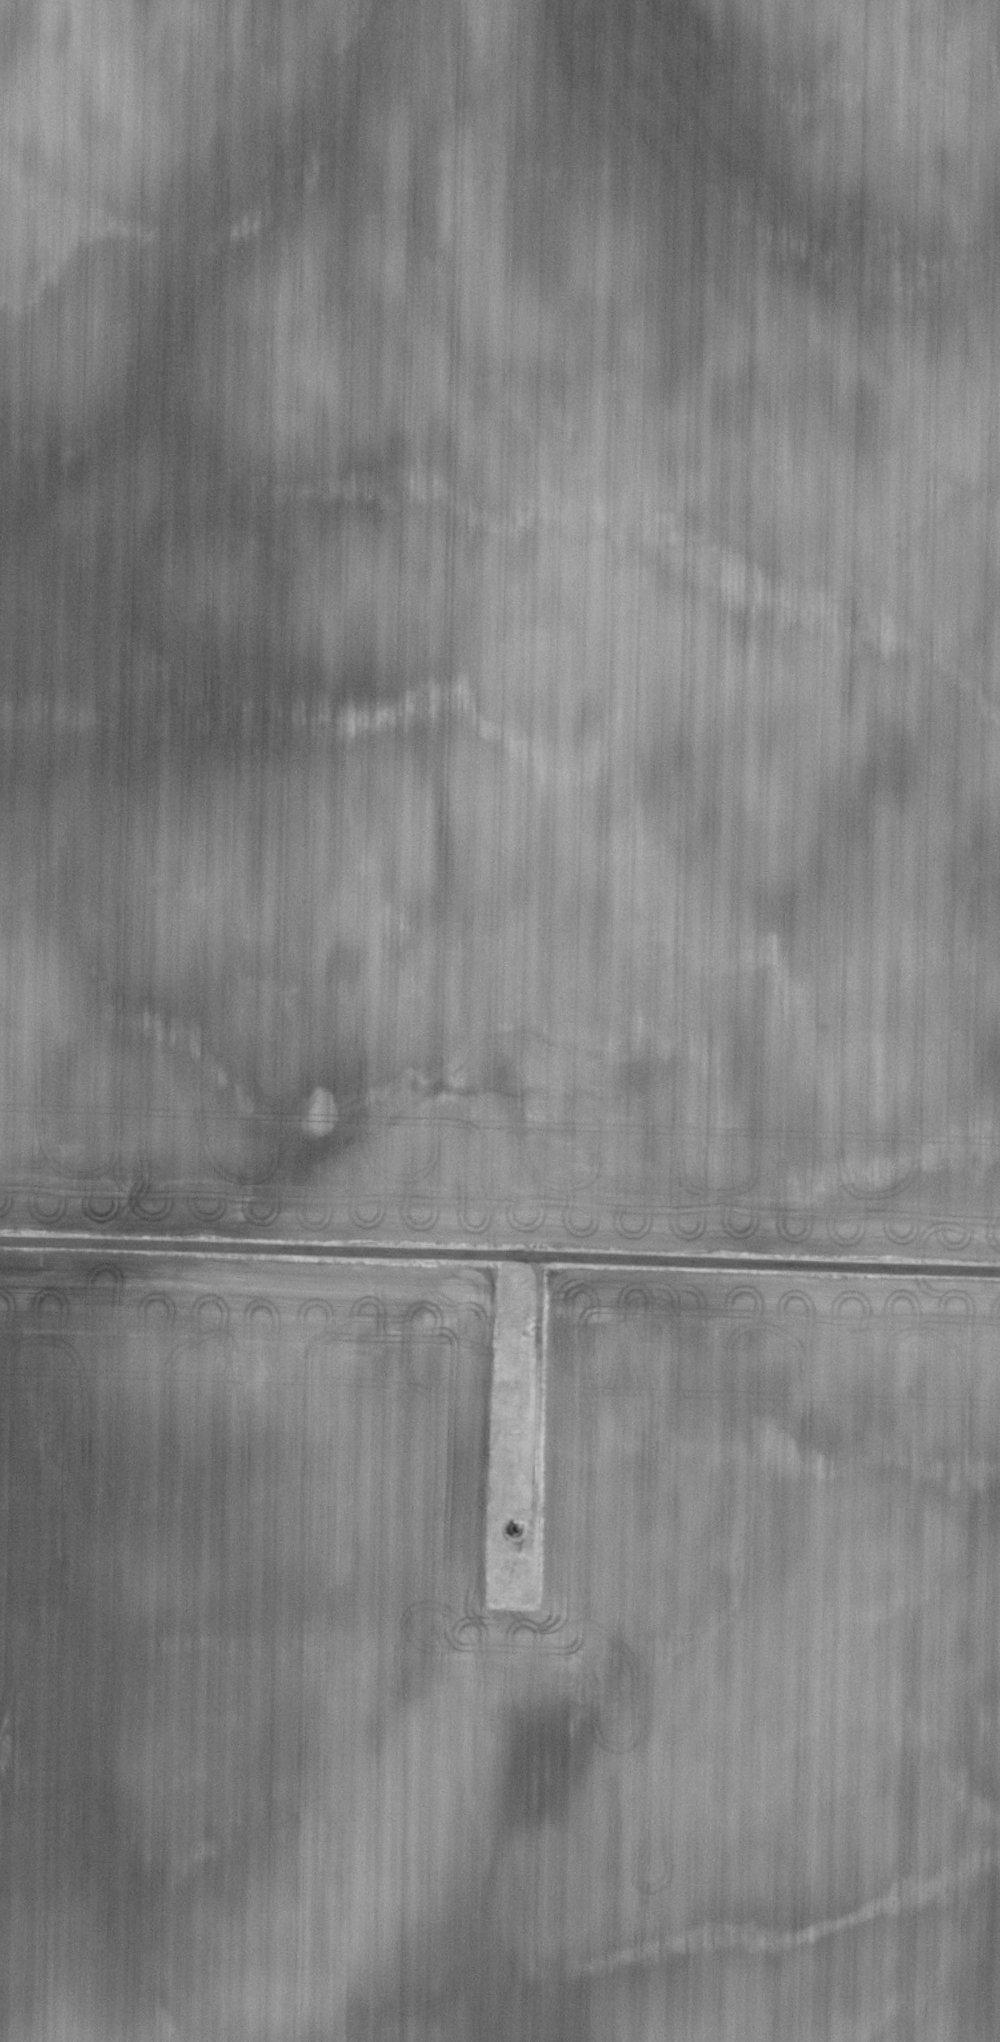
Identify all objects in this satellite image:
road: (500, 1252)

